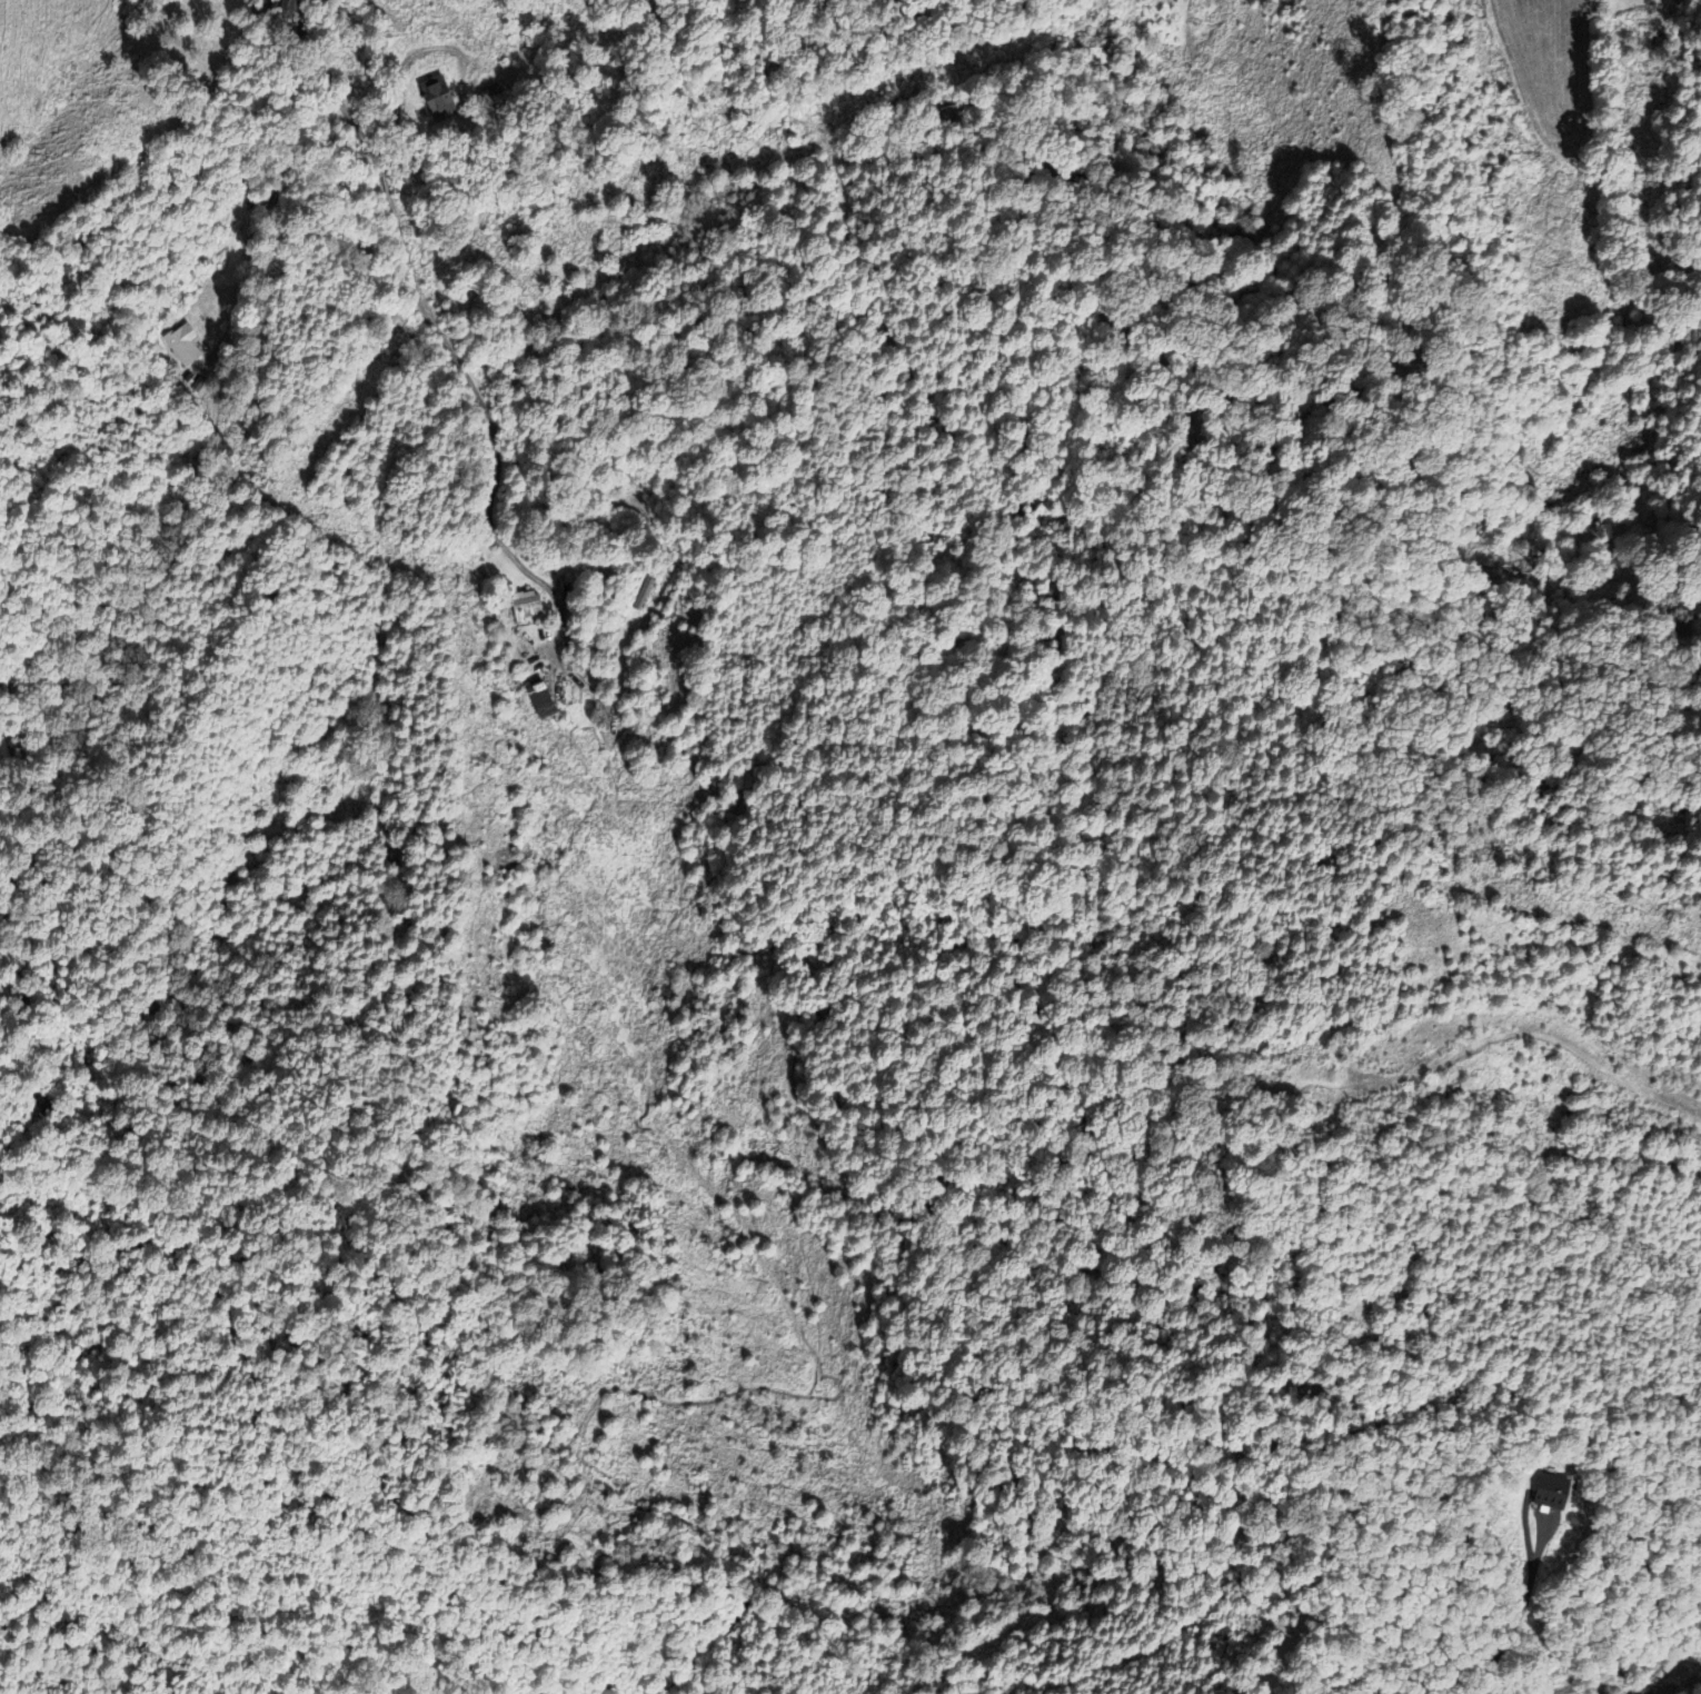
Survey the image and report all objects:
building: (278, 8)
building: (436, 93)
road: (278, 195)
road: (389, 208)
building: (180, 342)
building: (644, 586)
building: (525, 605)
road: (620, 660)
building: (539, 697)
building: (1551, 1488)
road: (1524, 1531)
road: (1519, 1608)
road: (1621, 1668)

